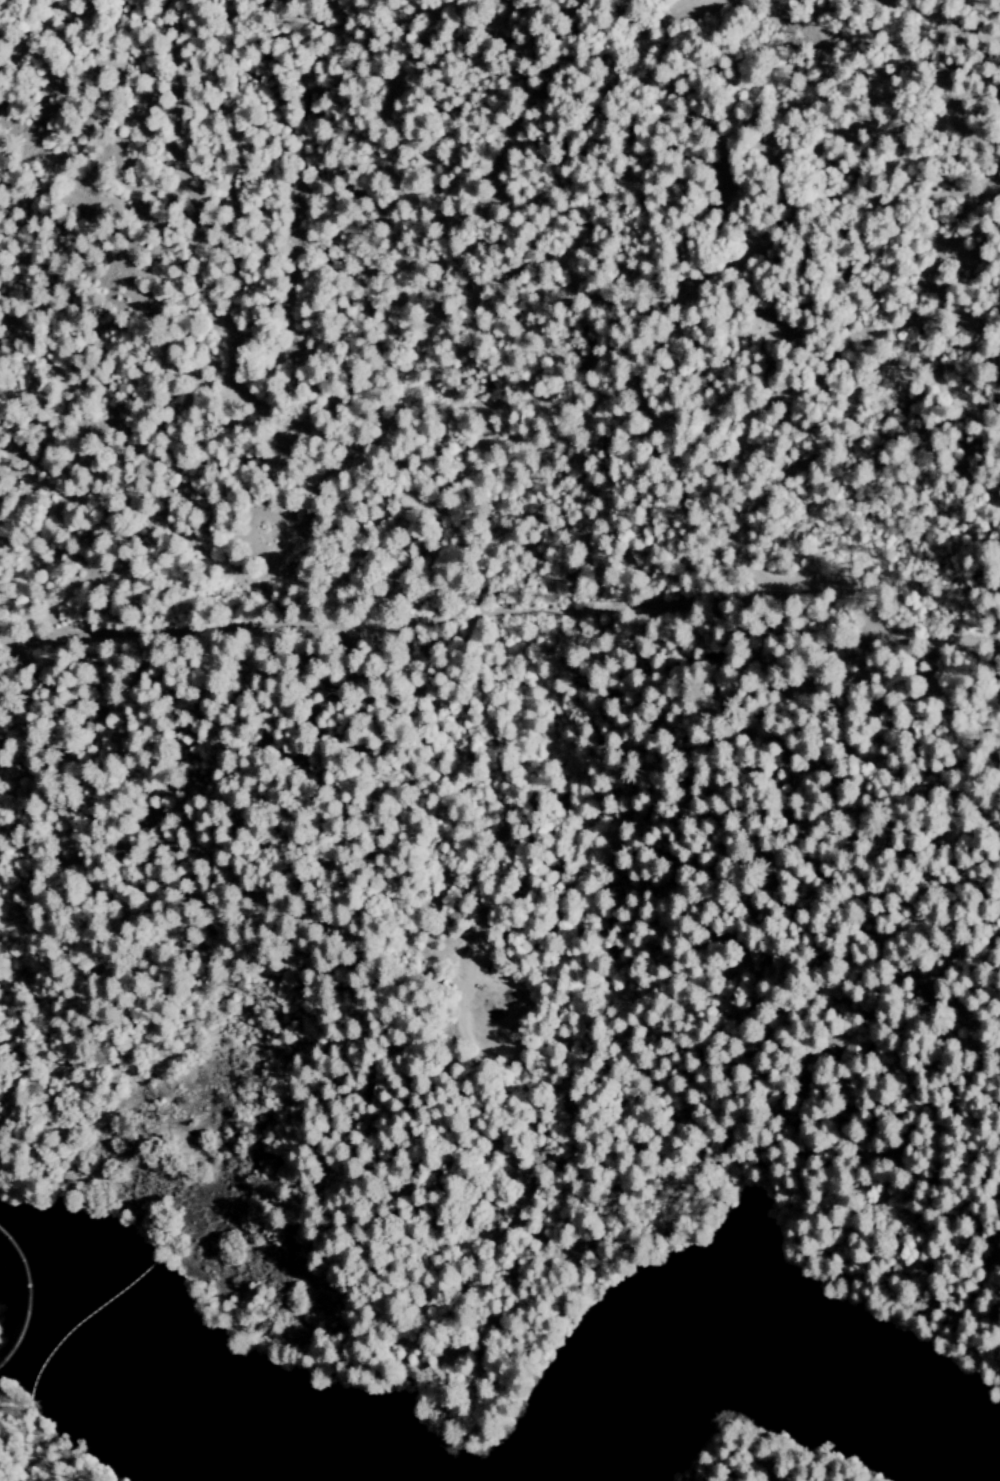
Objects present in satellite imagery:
road: (851, 401)
road: (858, 611)
road: (380, 619)
building: (836, 991)
building: (848, 1044)
dam: (24, 1298)

